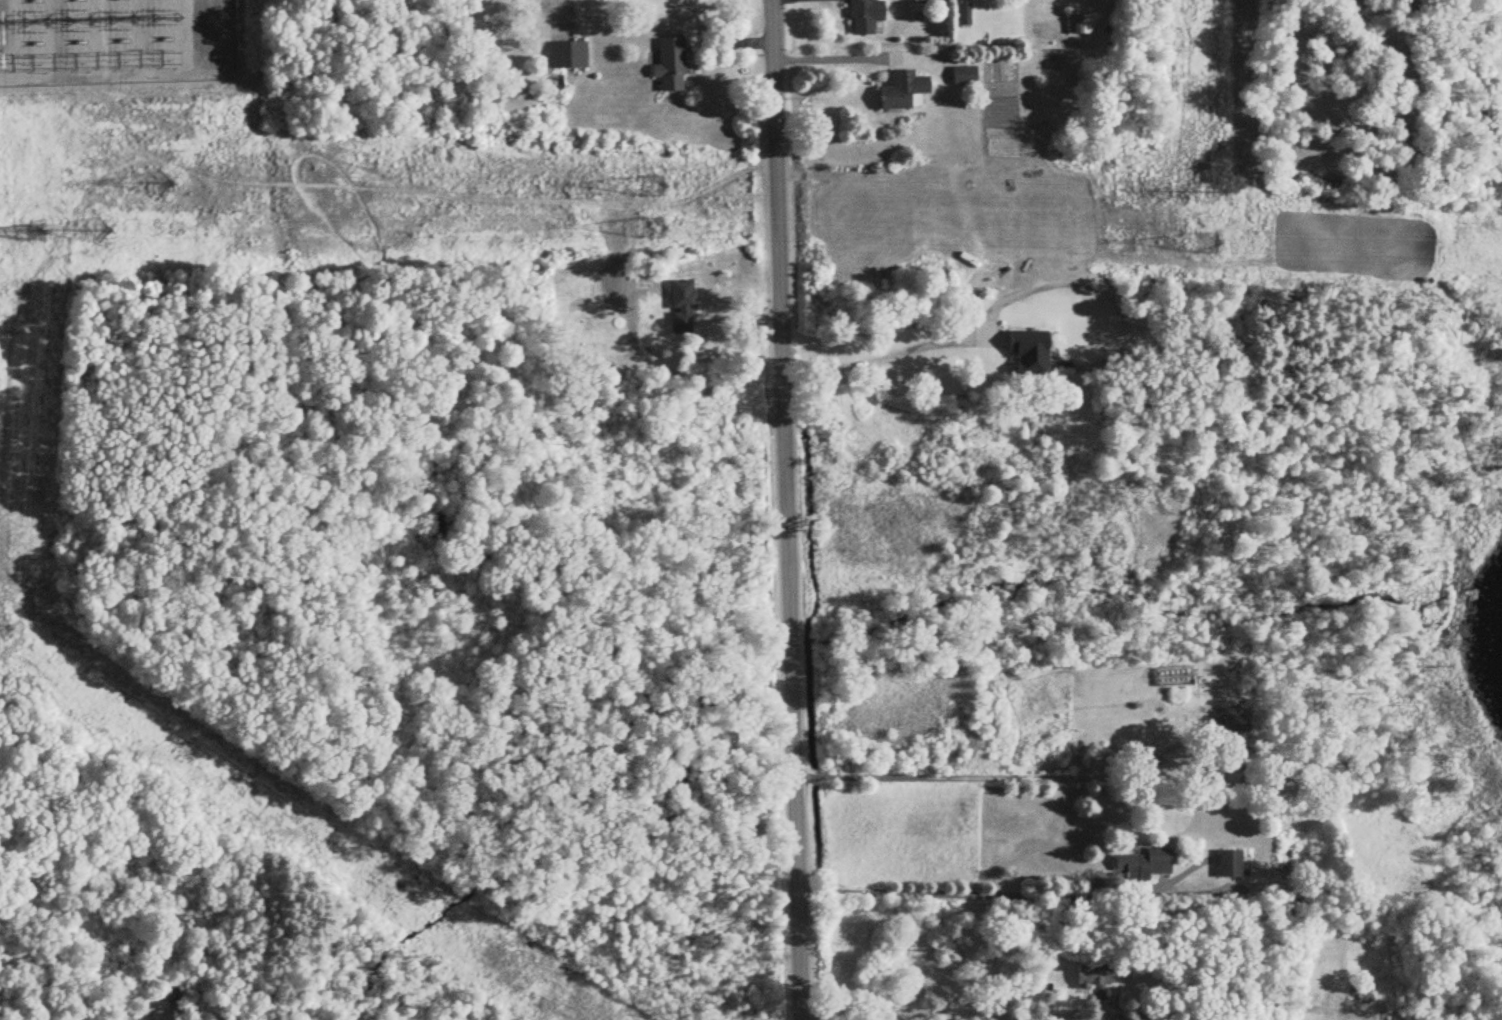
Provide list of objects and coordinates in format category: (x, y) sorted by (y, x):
building: (964, 15)
building: (866, 17)
building: (1080, 25)
power substation: (115, 40)
building: (568, 56)
road: (828, 58)
building: (671, 66)
road: (129, 69)
building: (964, 77)
building: (904, 92)
power tower: (162, 184)
power tower: (651, 188)
power tower: (1212, 193)
power tower: (654, 230)
power tower: (98, 232)
power tower: (38, 234)
power tower: (1206, 246)
building: (682, 308)
road: (885, 357)
building: (930, 368)
road: (786, 509)
power tower: (2, 625)
power tower: (191, 751)
building: (1240, 777)
road: (993, 778)
building: (1229, 865)
building: (1144, 866)
road: (982, 894)
building: (1094, 981)
road: (936, 1005)
building: (1152, 1013)

